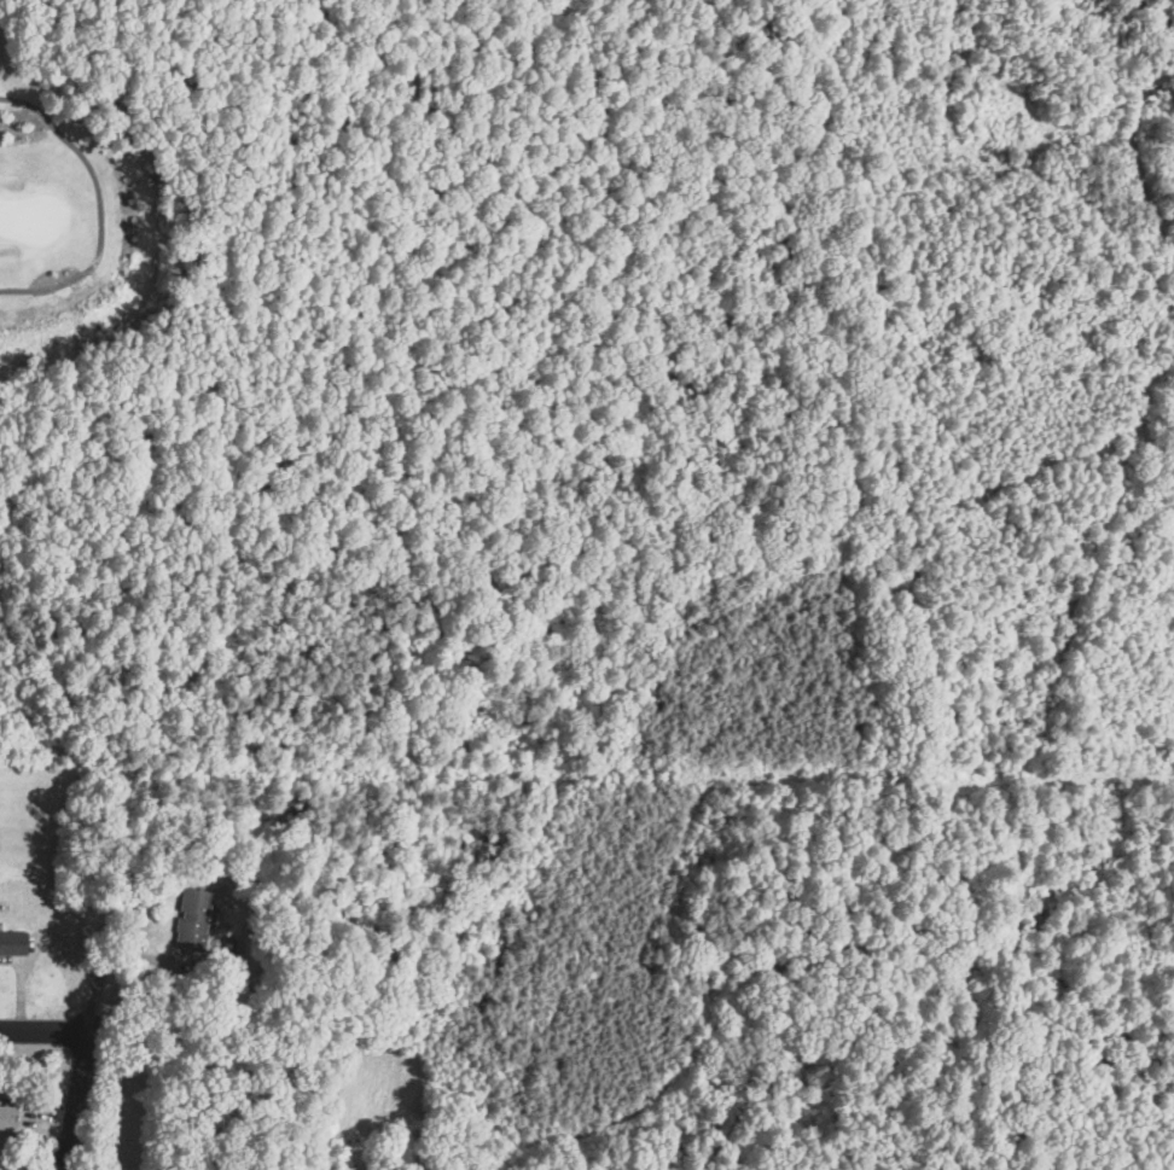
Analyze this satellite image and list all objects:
park: (48, 174)
building: (191, 919)
building: (12, 943)
road: (46, 1031)
road: (87, 1057)
building: (7, 1117)

